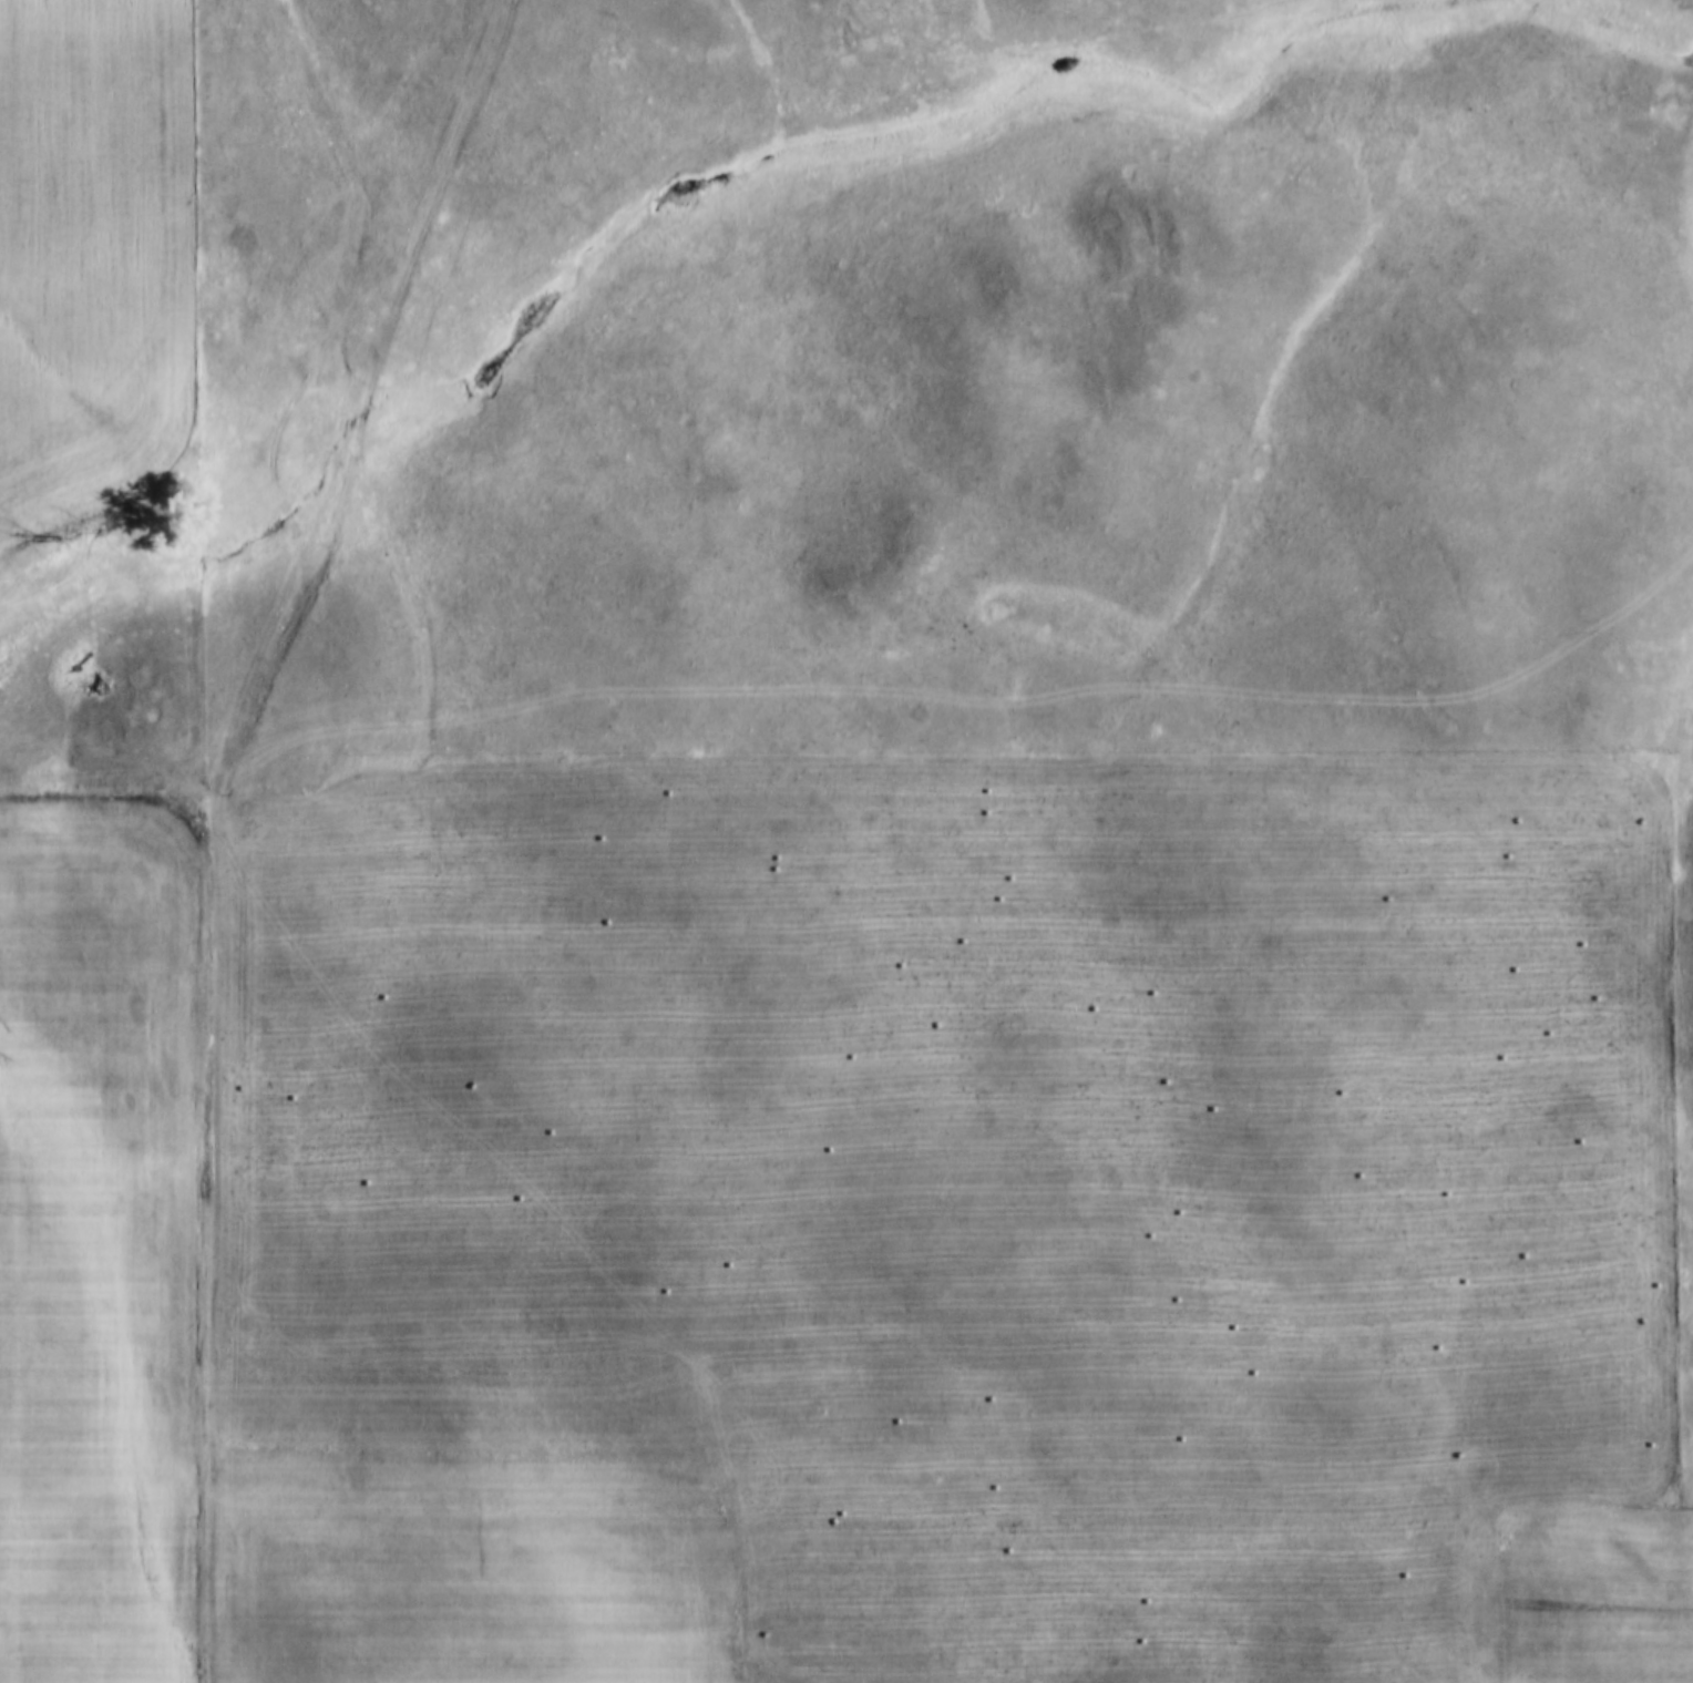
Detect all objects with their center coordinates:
road: (1439, 492)
road: (136, 770)
road: (226, 814)

